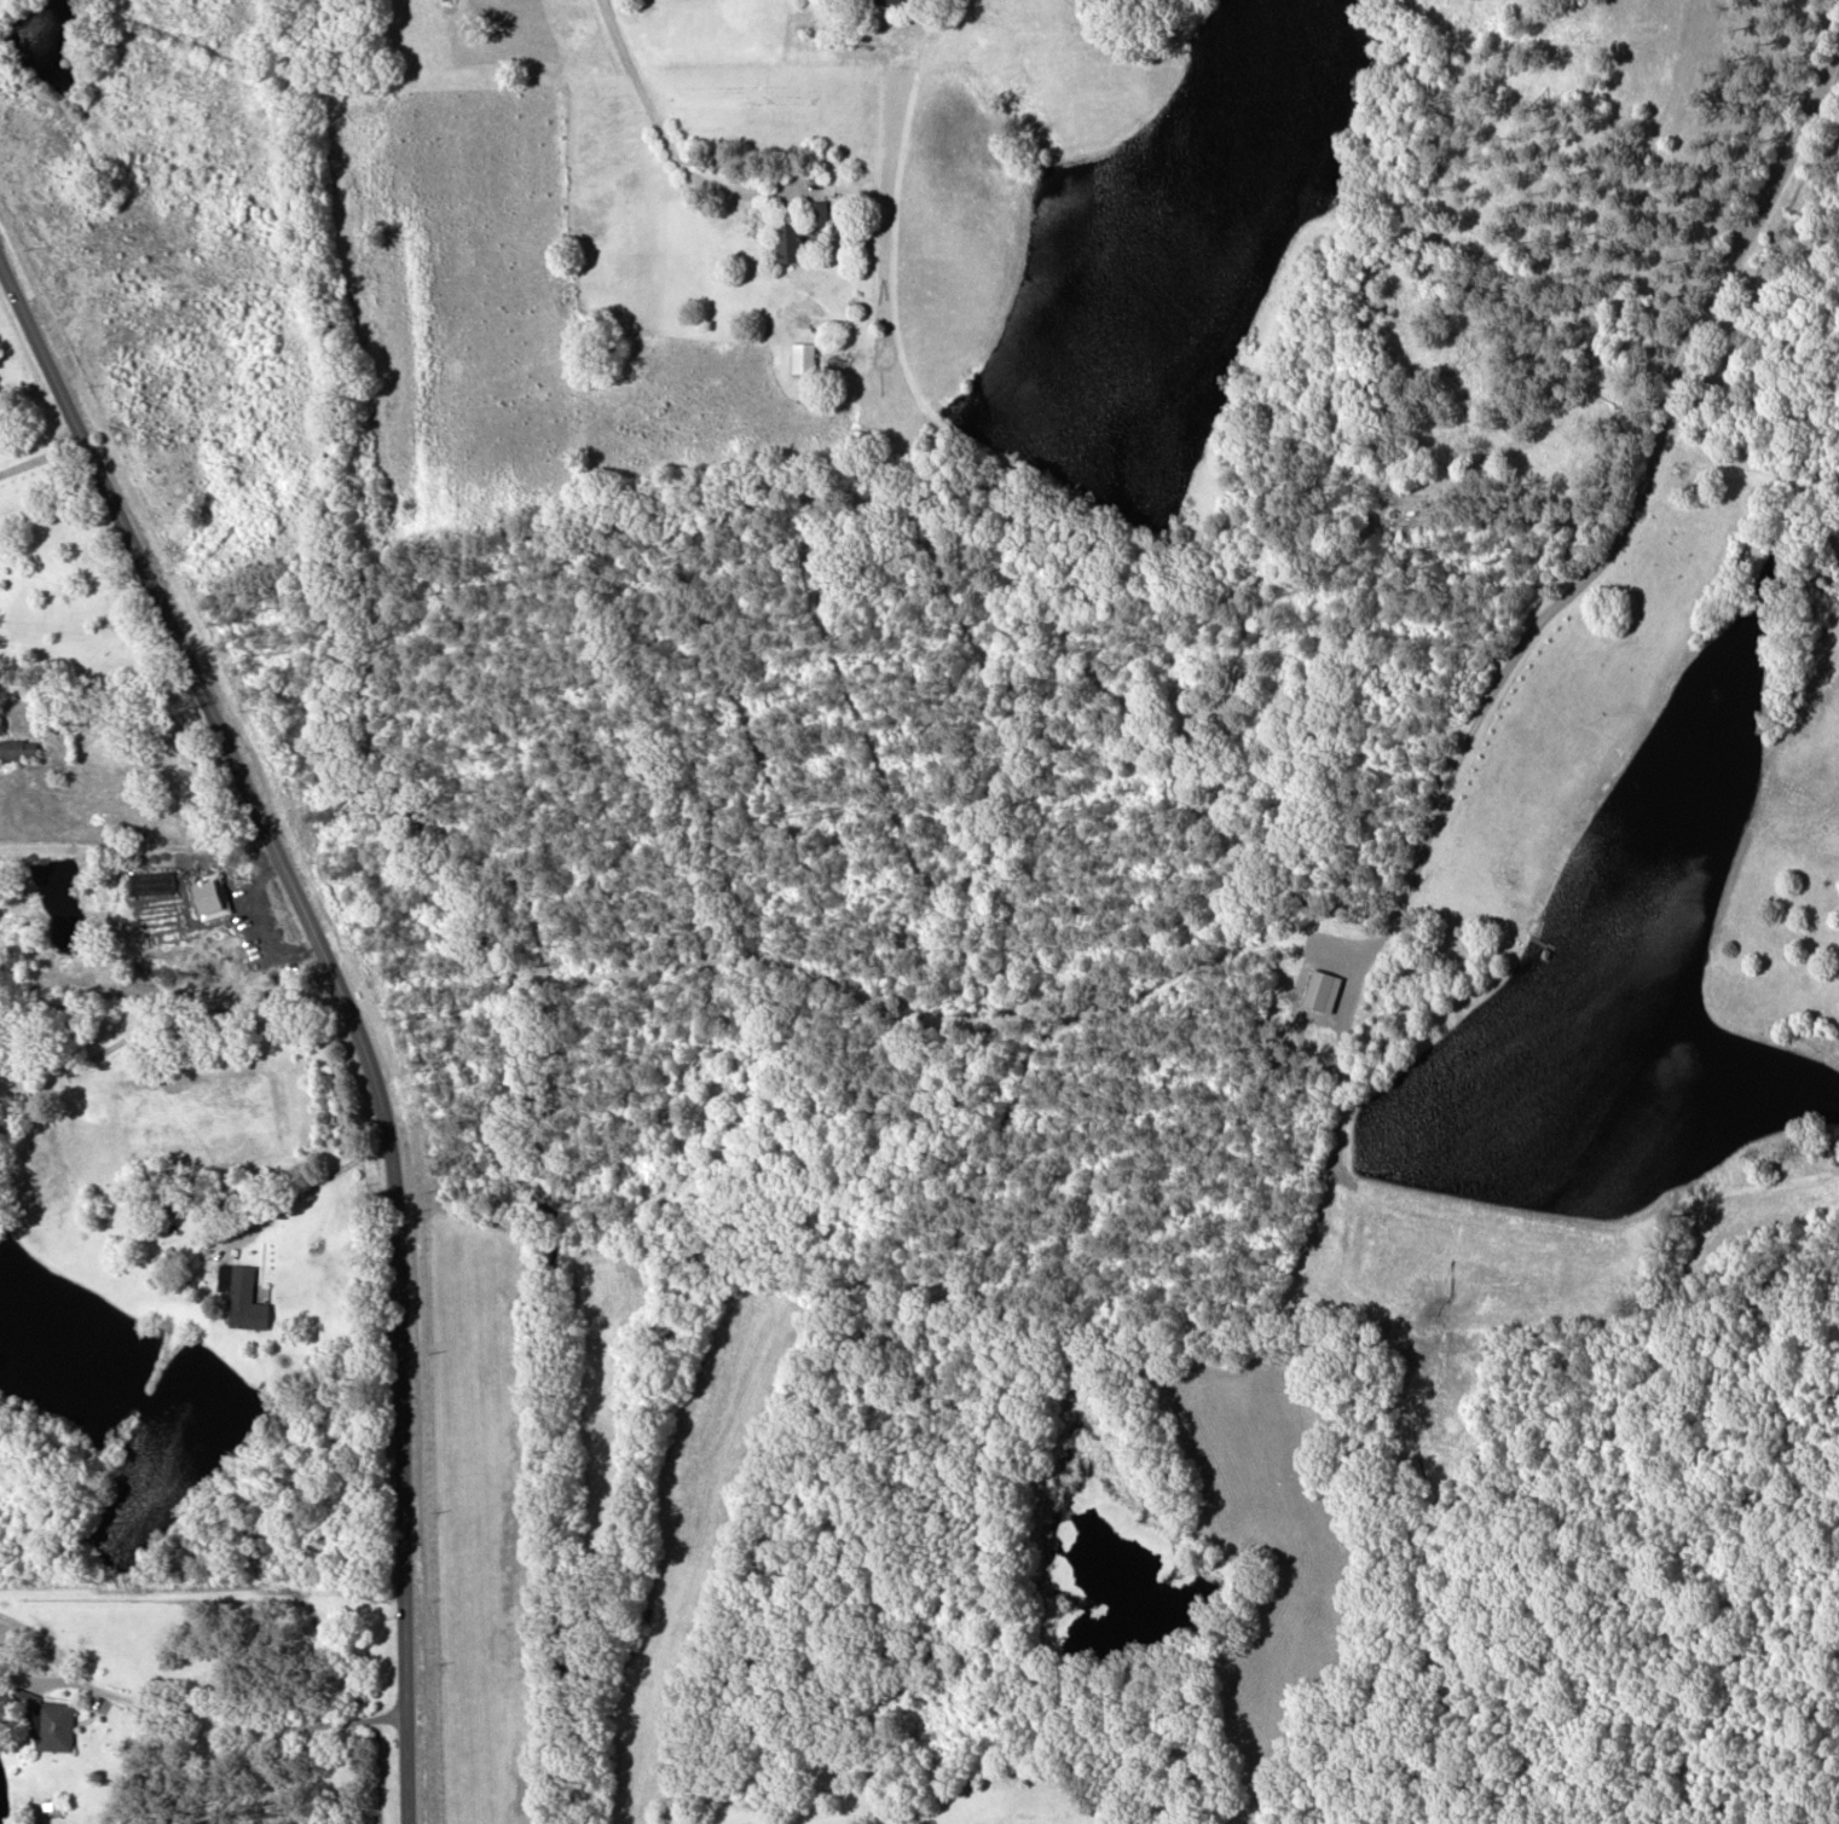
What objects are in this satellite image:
building: (889, 1)
road: (659, 134)
building: (815, 212)
building: (787, 242)
building: (802, 355)
road: (40, 454)
building: (0, 722)
building: (17, 747)
road: (138, 847)
road: (349, 1008)
road: (167, 1021)
building: (243, 1295)
road: (187, 1713)
building: (48, 1719)

